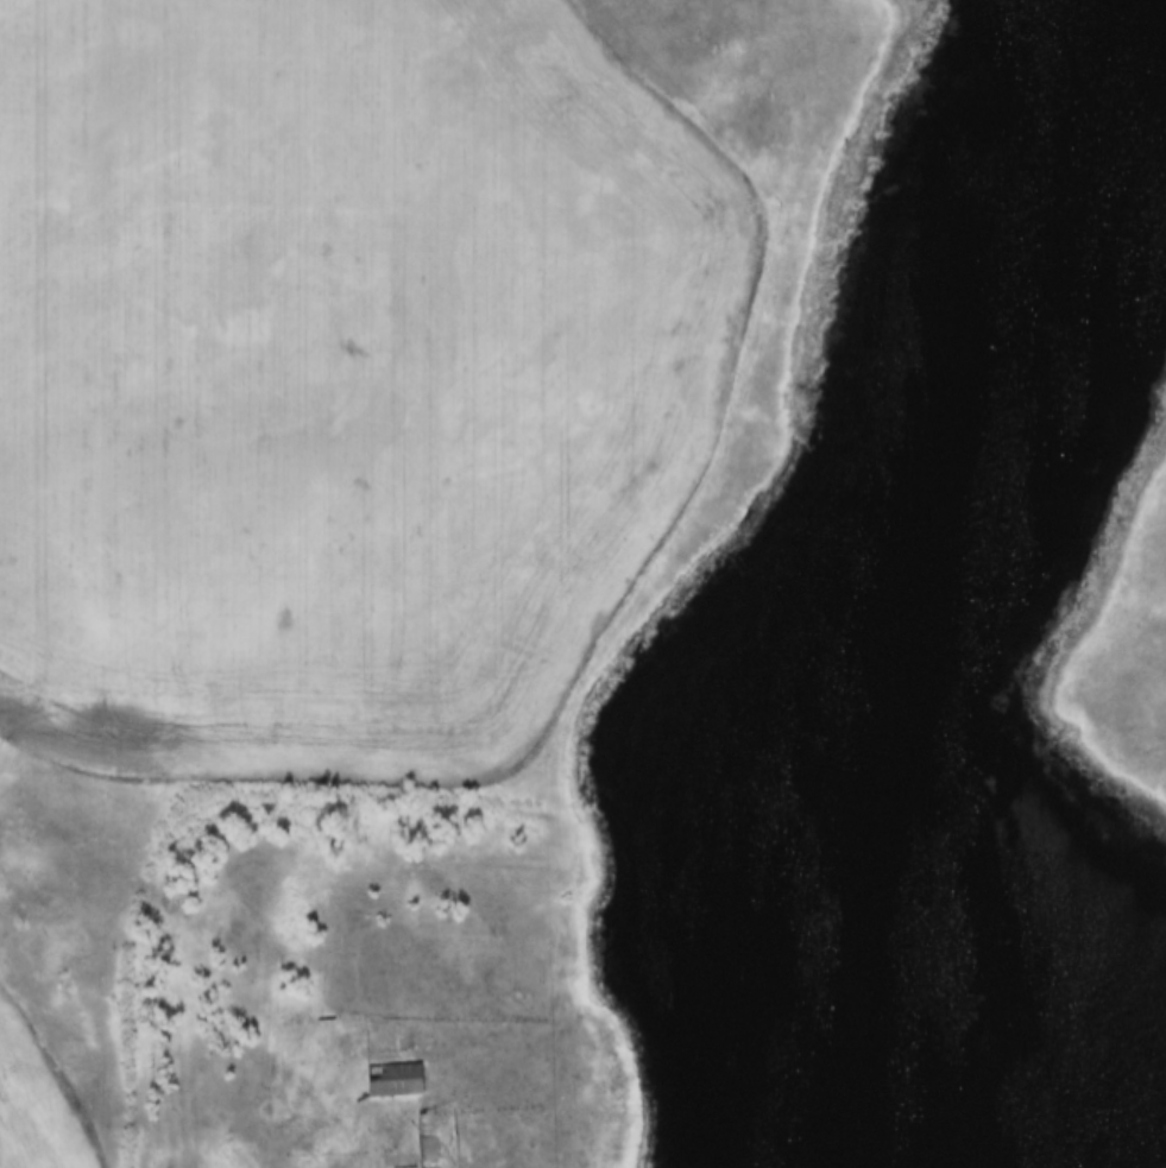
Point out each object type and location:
building: (389, 1079)
building: (434, 1151)

